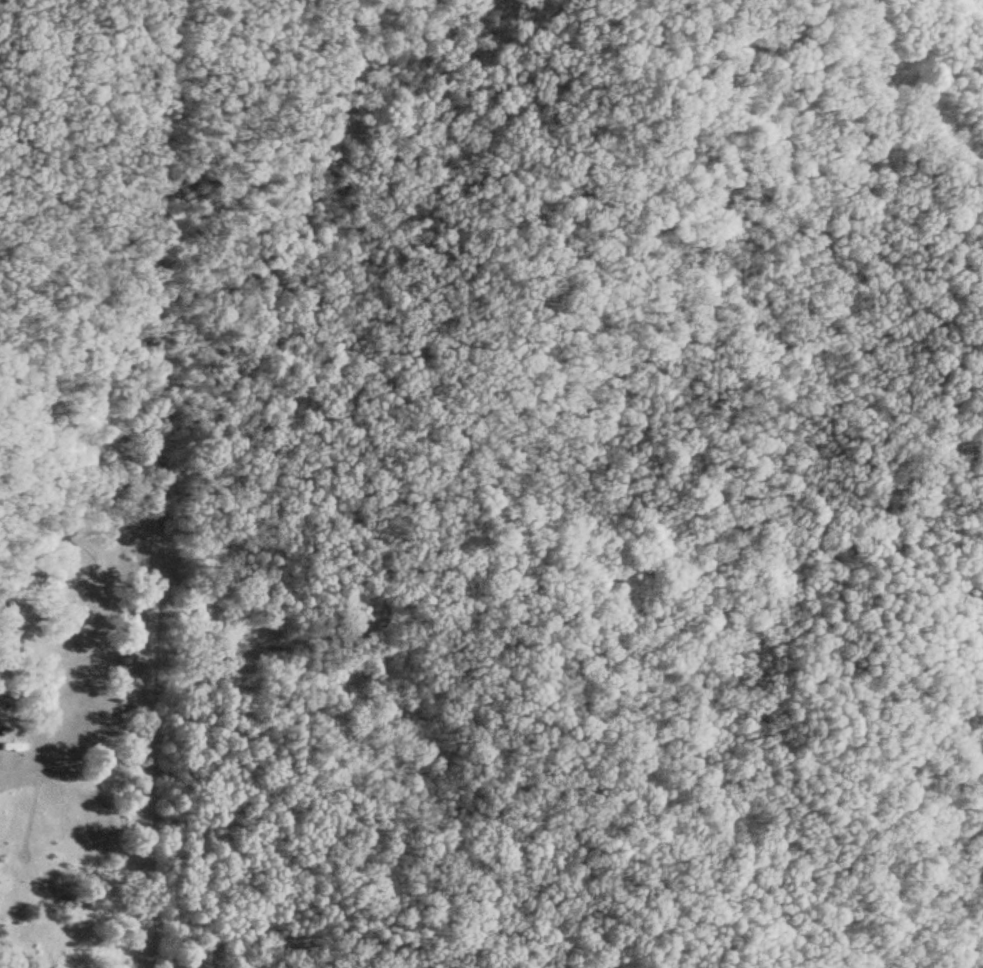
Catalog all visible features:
road: (154, 484)
road: (86, 651)

